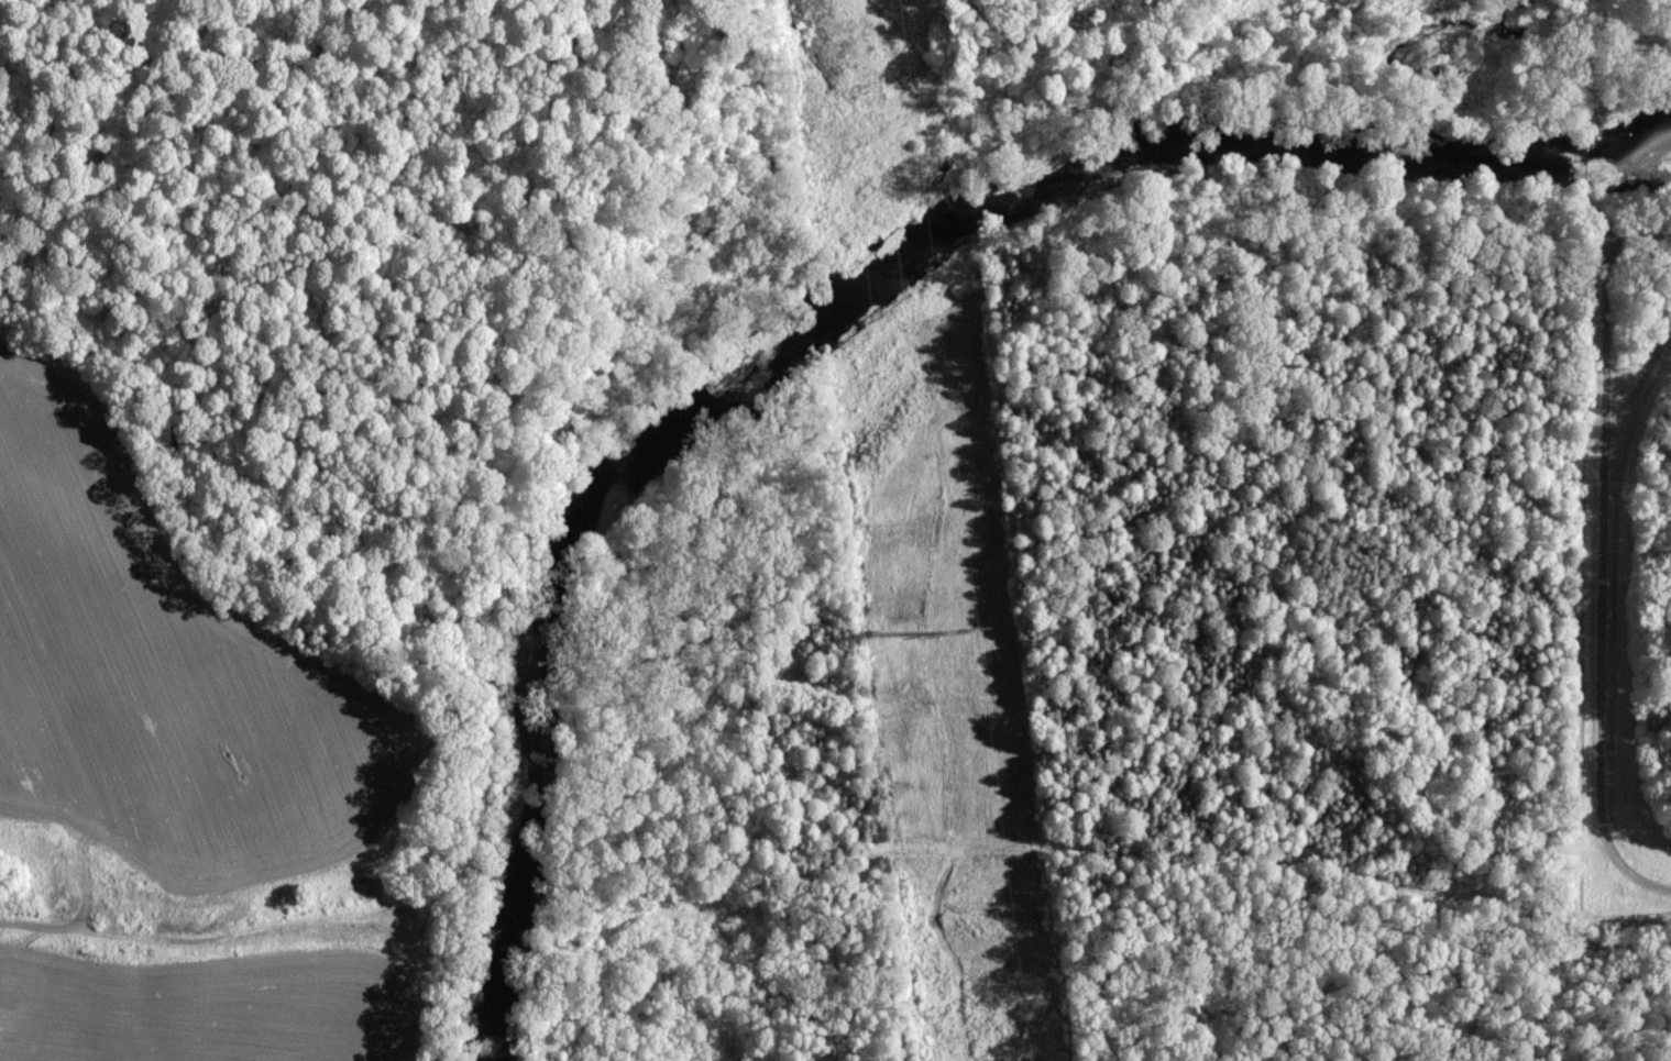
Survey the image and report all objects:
road: (1598, 617)
power tower: (943, 634)
road: (59, 930)

